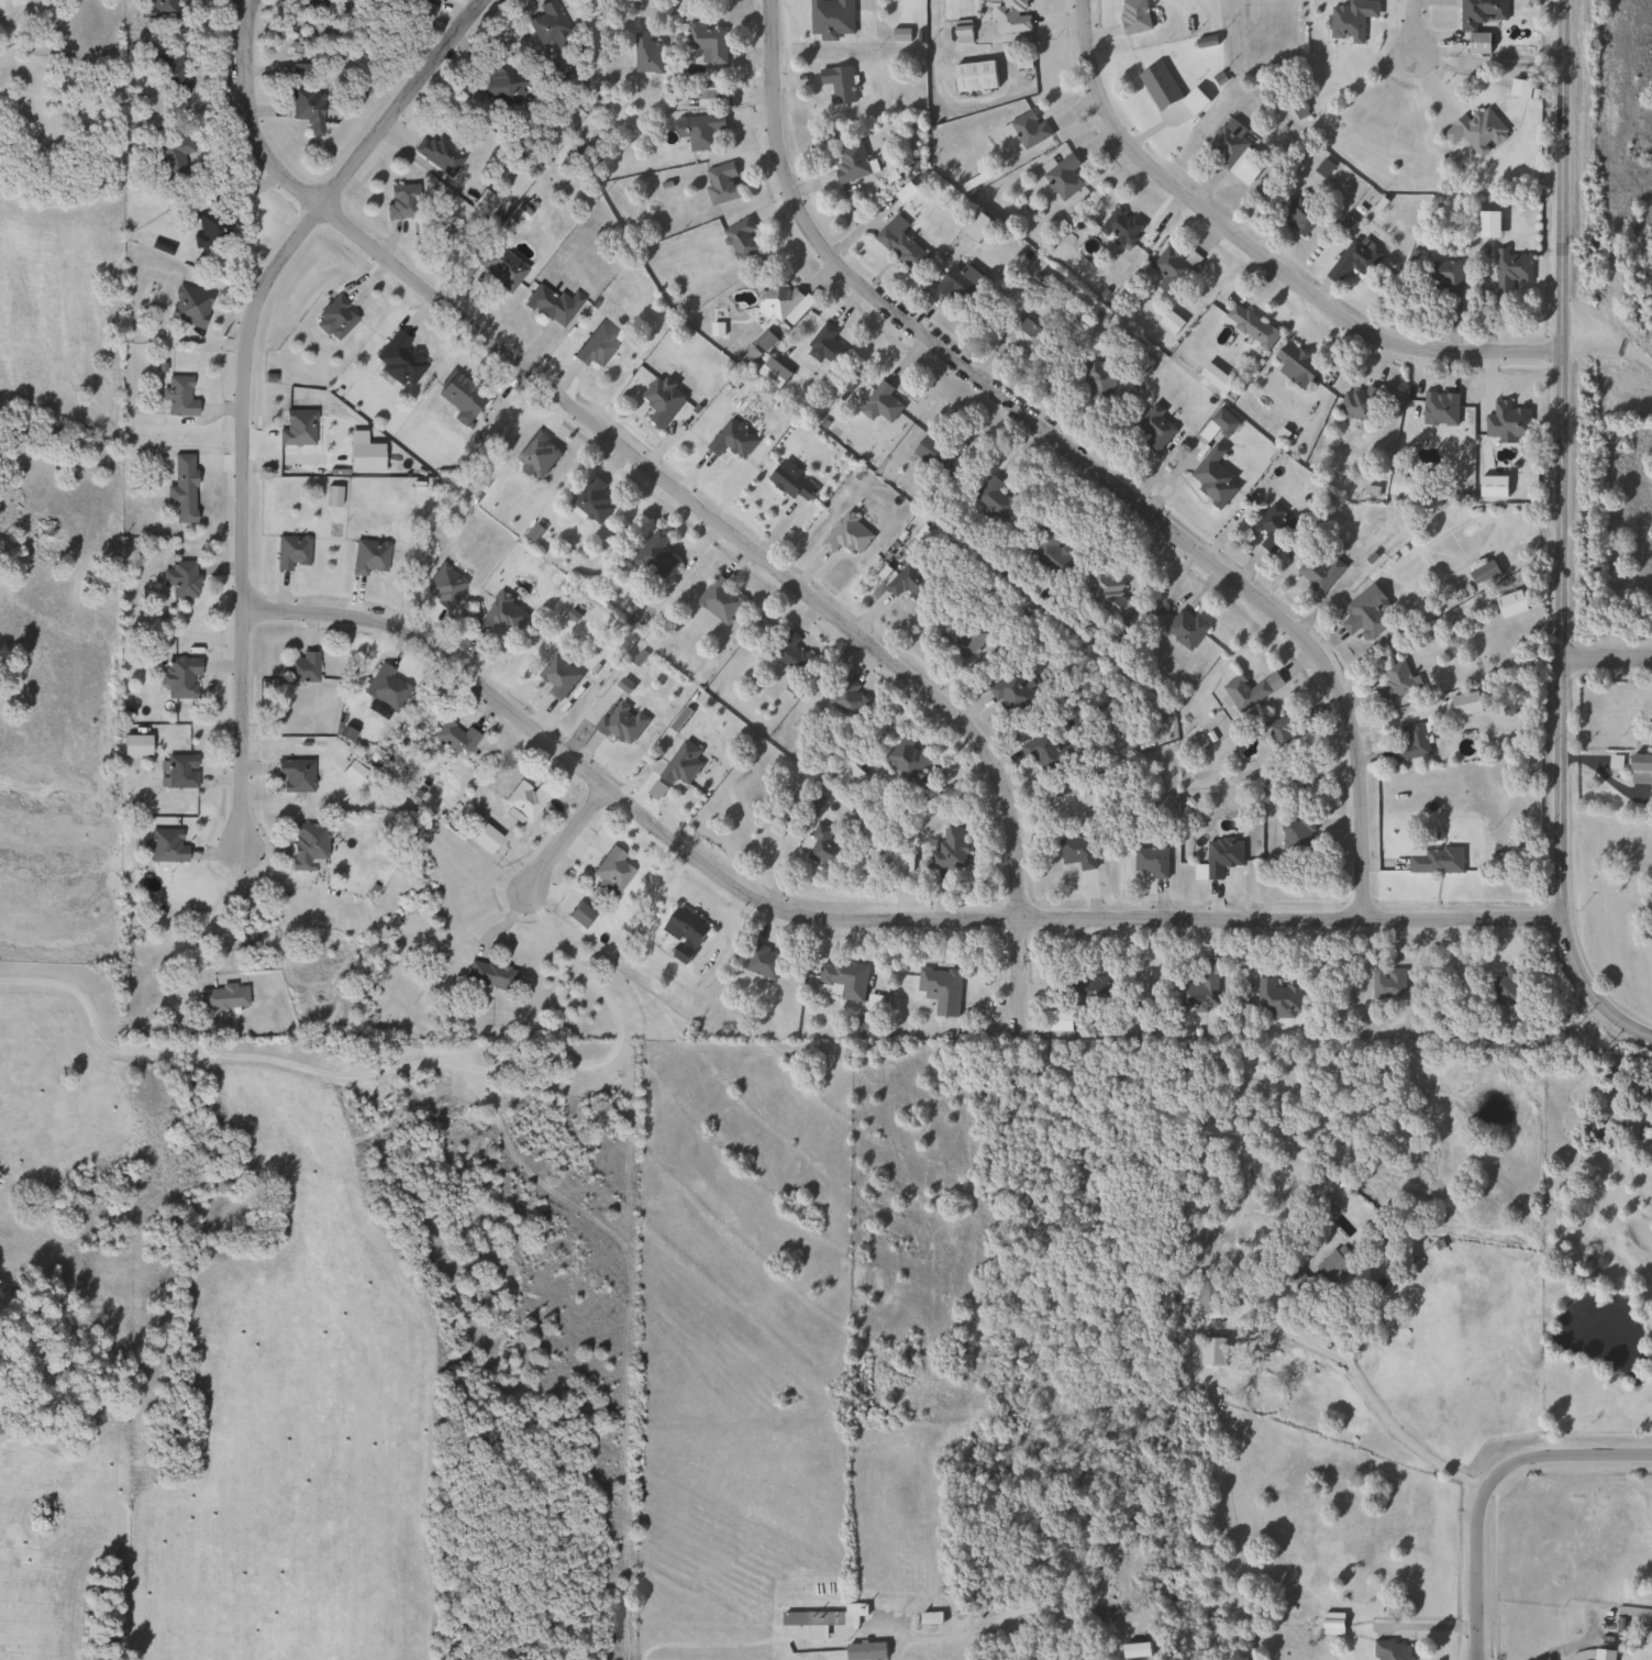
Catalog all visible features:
building: (418, 1)
building: (164, 8)
building: (1010, 15)
building: (1132, 15)
building: (829, 18)
building: (1350, 19)
building: (1478, 20)
building: (546, 25)
road: (1411, 26)
building: (707, 41)
building: (646, 53)
building: (167, 71)
building: (973, 76)
building: (836, 82)
building: (499, 86)
building: (708, 88)
building: (1166, 88)
building: (1518, 88)
building: (306, 109)
road: (250, 117)
building: (1025, 128)
building: (698, 130)
building: (1476, 130)
building: (1234, 151)
building: (171, 152)
building: (436, 154)
building: (849, 161)
building: (1063, 176)
building: (719, 182)
building: (400, 201)
building: (1300, 217)
building: (1487, 224)
building: (975, 225)
building: (1120, 228)
building: (204, 230)
building: (741, 237)
building: (898, 243)
road: (1262, 256)
building: (1353, 258)
building: (497, 264)
building: (1171, 269)
building: (1510, 270)
building: (1443, 277)
building: (956, 283)
building: (778, 298)
building: (551, 305)
building: (188, 306)
building: (335, 317)
building: (1250, 325)
building: (1020, 334)
road: (1610, 337)
building: (594, 345)
building: (823, 345)
building: (397, 359)
building: (1294, 364)
building: (1215, 378)
building: (1096, 383)
road: (242, 385)
building: (177, 397)
building: (457, 398)
building: (661, 399)
building: (879, 403)
building: (1359, 403)
building: (1439, 407)
building: (1506, 420)
building: (1222, 421)
building: (1154, 428)
building: (732, 439)
building: (932, 450)
road: (1075, 454)
building: (1212, 476)
building: (790, 480)
building: (1401, 485)
building: (991, 497)
building: (591, 500)
building: (1274, 527)
building: (846, 534)
road: (1563, 538)
building: (291, 552)
building: (1051, 554)
building: (653, 555)
road: (768, 564)
building: (1318, 569)
building: (1482, 573)
building: (179, 578)
building: (908, 582)
building: (1105, 593)
building: (719, 599)
building: (1509, 602)
building: (1364, 613)
building: (500, 616)
building: (1185, 628)
building: (962, 639)
building: (790, 652)
road: (1607, 656)
building: (300, 667)
building: (178, 676)
building: (557, 676)
building: (1393, 680)
building: (381, 688)
building: (1244, 691)
building: (1010, 695)
building: (846, 698)
building: (620, 723)
building: (1282, 735)
building: (451, 739)
building: (1410, 743)
building: (905, 757)
building: (1614, 762)
building: (679, 764)
building: (1639, 768)
building: (180, 772)
building: (293, 776)
road: (1606, 778)
building: (523, 800)
building: (1296, 835)
building: (480, 839)
road: (564, 840)
building: (167, 845)
building: (307, 845)
building: (821, 848)
building: (950, 849)
building: (1076, 851)
building: (1221, 855)
building: (1434, 860)
building: (1150, 861)
building: (899, 866)
building: (609, 870)
road: (208, 911)
road: (853, 919)
building: (683, 932)
building: (763, 962)
building: (486, 976)
building: (843, 977)
building: (1387, 984)
building: (1506, 986)
building: (1080, 987)
building: (939, 988)
building: (1197, 989)
building: (1277, 999)
building: (1056, 1021)
road: (387, 1067)
building: (1333, 1265)
building: (1207, 1292)
building: (1211, 1351)
road: (1351, 1369)
road: (1485, 1486)
building: (965, 1615)
building: (819, 1619)
road: (1001, 1623)
building: (1143, 1625)
building: (1390, 1650)
building: (864, 1651)
building: (1603, 1651)

